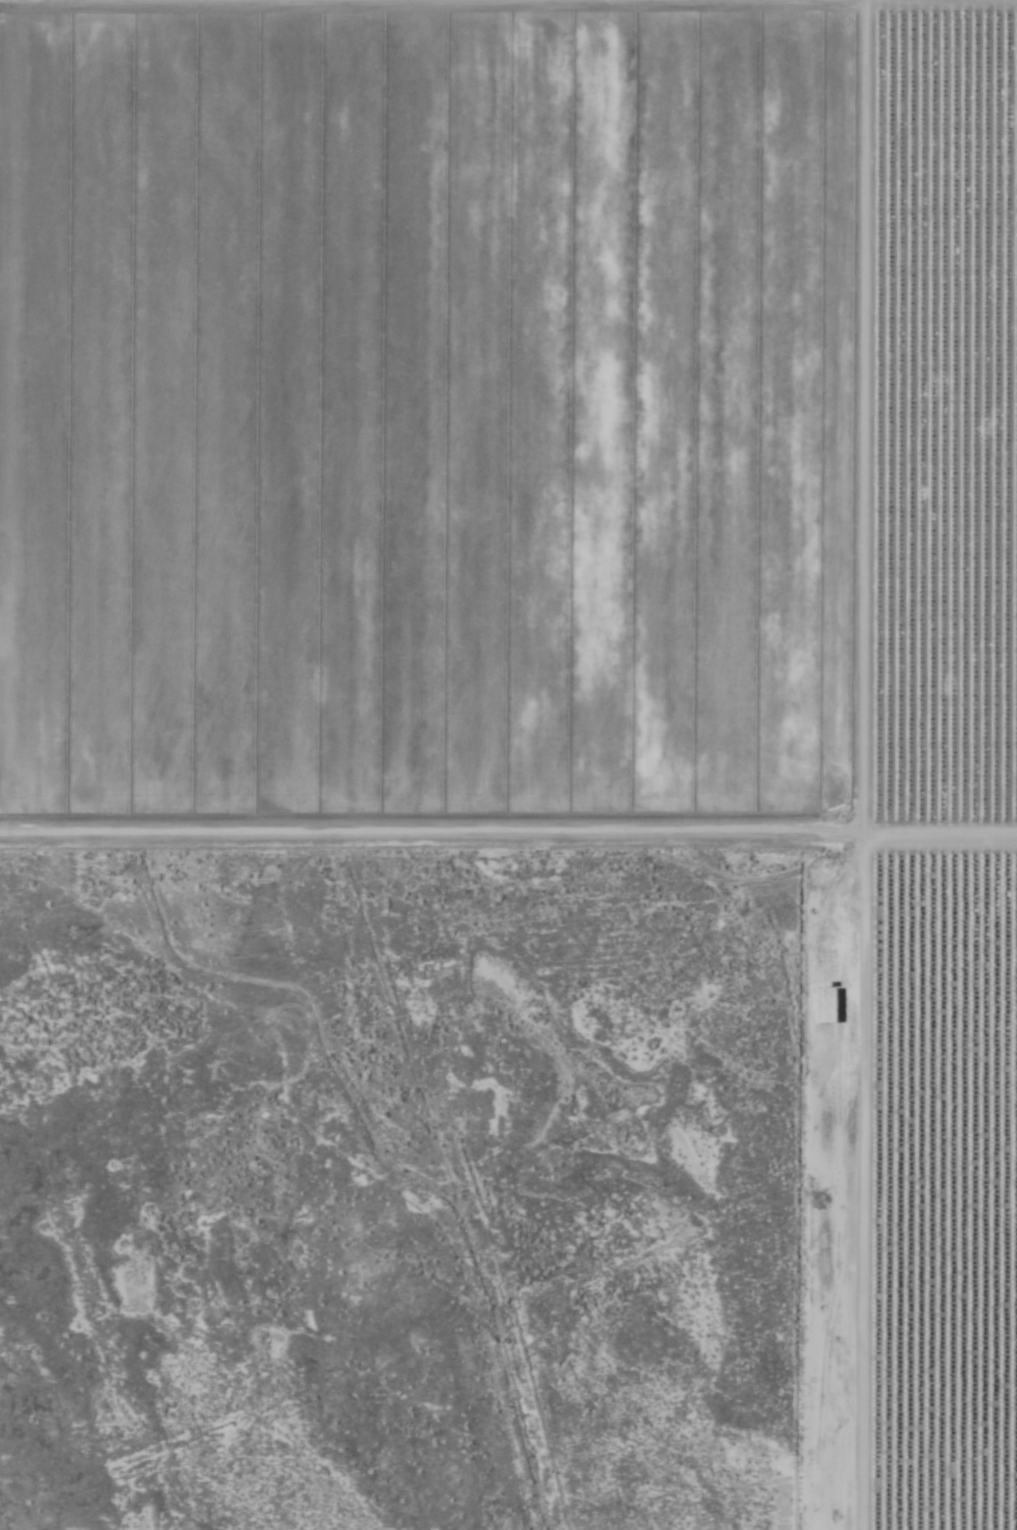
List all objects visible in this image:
road: (862, 764)
road: (940, 828)

